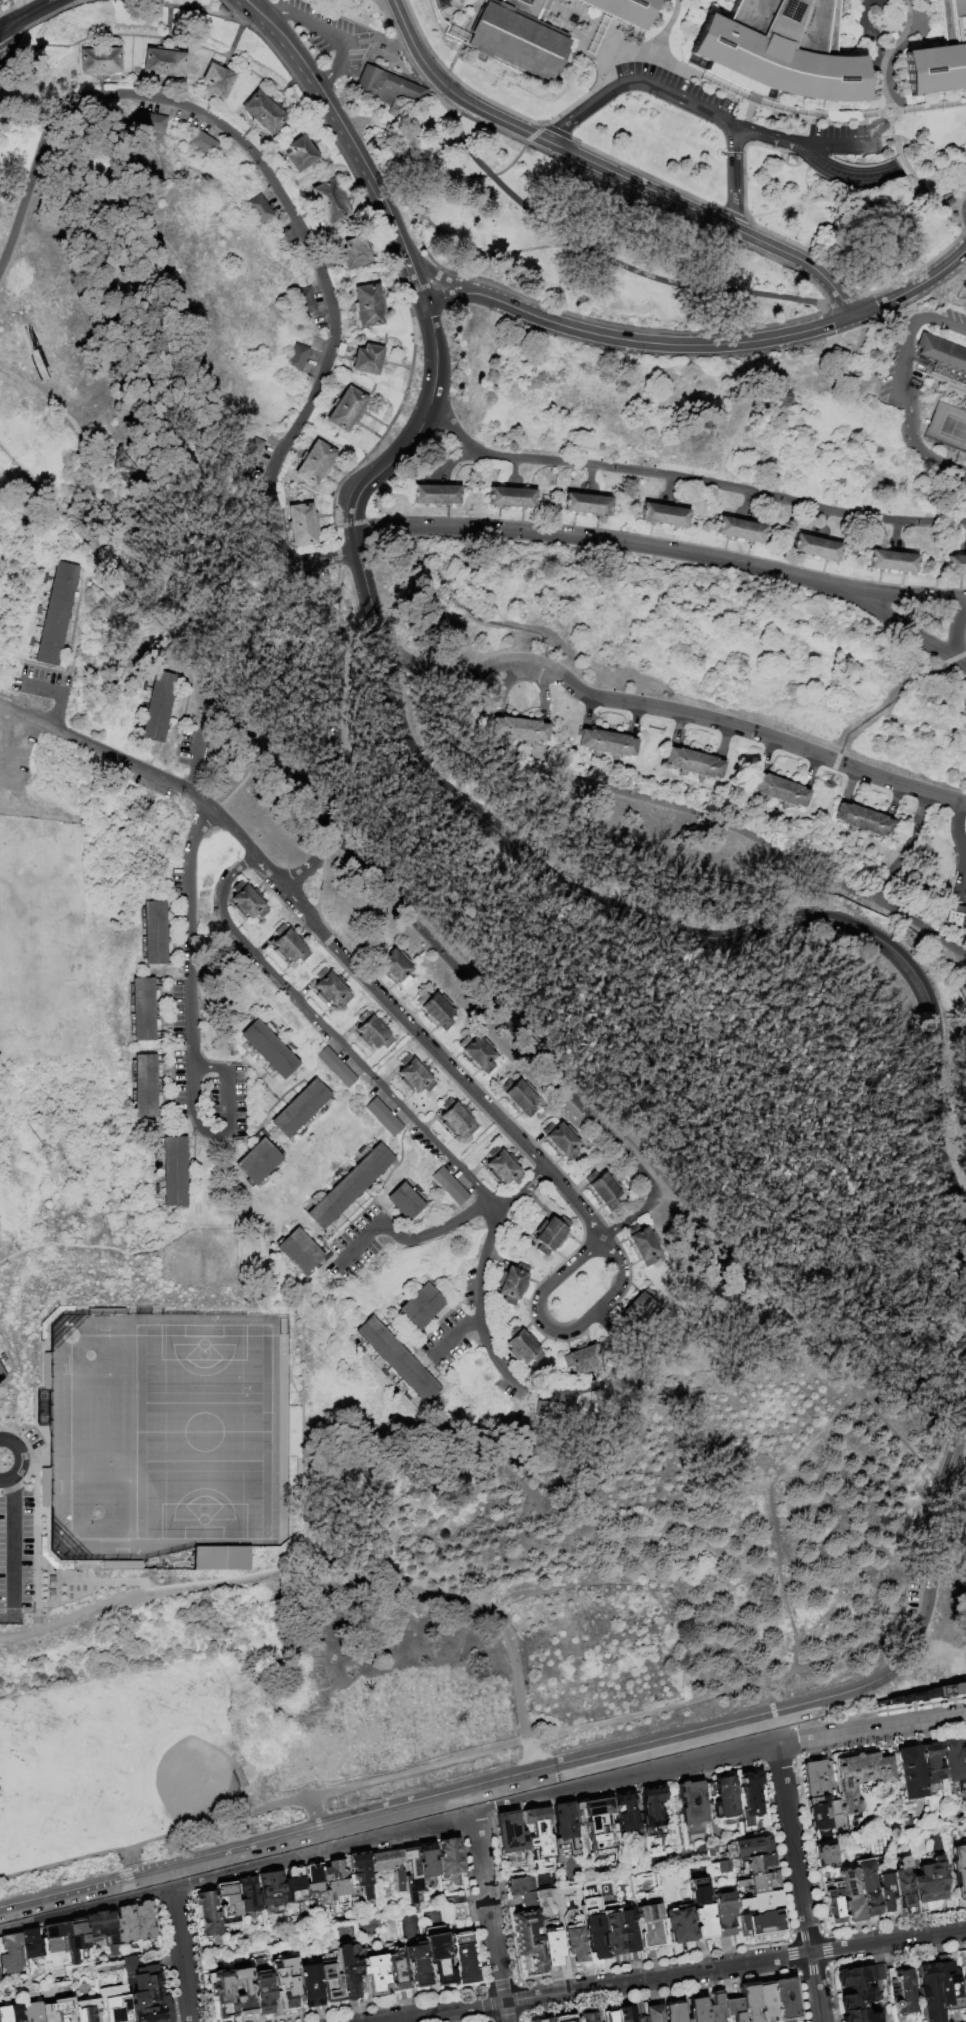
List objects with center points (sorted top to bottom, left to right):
road: (377, 2)
road: (379, 2)
road: (153, 4)
road: (32, 6)
building: (622, 10)
road: (9, 12)
road: (267, 13)
road: (29, 15)
fountain: (571, 18)
road: (320, 29)
road: (669, 29)
building: (520, 37)
road: (184, 43)
building: (781, 51)
road: (890, 51)
building: (941, 55)
building: (100, 61)
road: (406, 61)
building: (164, 63)
road: (329, 79)
road: (454, 79)
building: (218, 82)
road: (606, 82)
parking lot: (673, 83)
building: (388, 87)
road: (608, 87)
road: (590, 90)
road: (613, 90)
road: (675, 97)
road: (753, 99)
road: (930, 107)
building: (264, 113)
road: (884, 113)
road: (747, 114)
road: (577, 115)
road: (333, 117)
building: (150, 122)
road: (541, 123)
road: (556, 132)
road: (533, 133)
road: (763, 135)
building: (204, 144)
road: (463, 144)
road: (836, 147)
building: (301, 155)
road: (810, 156)
road: (510, 163)
road: (608, 171)
road: (733, 177)
road: (865, 177)
road: (912, 177)
road: (280, 198)
road: (826, 200)
building: (332, 202)
building: (261, 210)
road: (541, 223)
road: (422, 247)
building: (355, 254)
road: (435, 274)
road: (413, 277)
road: (817, 289)
road: (911, 289)
road: (448, 297)
building: (306, 301)
building: (369, 306)
road: (659, 345)
building: (296, 357)
building: (943, 358)
building: (368, 360)
road: (903, 384)
road: (53, 402)
building: (348, 410)
building: (256, 424)
park: (947, 427)
building: (251, 455)
building: (316, 464)
road: (688, 480)
building: (435, 494)
building: (510, 497)
building: (586, 505)
building: (663, 515)
building: (303, 526)
building: (740, 530)
road: (604, 543)
building: (816, 547)
road: (338, 557)
building: (892, 561)
building: (956, 564)
road: (909, 596)
building: (57, 614)
road: (904, 626)
road: (956, 636)
road: (111, 652)
road: (961, 661)
parking lot: (43, 681)
road: (45, 687)
building: (145, 687)
road: (60, 708)
building: (160, 709)
road: (671, 712)
road: (18, 718)
road: (338, 727)
building: (520, 731)
parking lot: (192, 743)
building: (608, 744)
road: (198, 751)
parking lot: (21, 760)
building: (694, 765)
road: (24, 767)
road: (154, 774)
road: (194, 779)
building: (780, 791)
road: (962, 802)
building: (865, 822)
road: (960, 824)
road: (738, 833)
road: (909, 849)
road: (427, 866)
road: (542, 871)
road: (964, 892)
building: (248, 902)
park: (472, 902)
building: (173, 905)
building: (957, 918)
building: (155, 934)
building: (173, 934)
road: (191, 936)
building: (290, 946)
park: (42, 948)
building: (174, 961)
building: (395, 966)
road: (482, 979)
building: (161, 983)
building: (332, 989)
building: (143, 1010)
building: (161, 1010)
building: (437, 1010)
parking lot: (181, 1014)
building: (272, 1027)
building: (373, 1033)
road: (516, 1036)
building: (162, 1039)
road: (244, 1045)
building: (294, 1048)
building: (270, 1050)
building: (479, 1054)
building: (162, 1059)
road: (444, 1059)
road: (248, 1060)
road: (217, 1065)
road: (266, 1066)
road: (206, 1067)
building: (337, 1068)
road: (174, 1071)
road: (313, 1071)
building: (415, 1076)
building: (145, 1087)
building: (163, 1087)
parking lot: (181, 1090)
building: (521, 1097)
parking lot: (242, 1101)
building: (301, 1109)
building: (324, 1111)
building: (164, 1115)
road: (711, 1116)
building: (384, 1118)
building: (457, 1120)
road: (261, 1125)
road: (218, 1132)
building: (303, 1133)
building: (562, 1141)
building: (362, 1151)
building: (157, 1156)
building: (260, 1160)
building: (503, 1168)
road: (461, 1171)
building: (176, 1172)
building: (338, 1174)
building: (351, 1187)
building: (451, 1187)
building: (158, 1190)
building: (604, 1190)
building: (419, 1191)
building: (314, 1197)
building: (406, 1202)
road: (465, 1216)
building: (552, 1236)
parking lot: (367, 1242)
road: (359, 1244)
building: (645, 1245)
building: (300, 1253)
road: (622, 1276)
road: (44, 1280)
building: (513, 1285)
road: (538, 1300)
building: (422, 1306)
building: (640, 1310)
road: (475, 1319)
parking lot: (453, 1331)
building: (425, 1332)
building: (417, 1335)
road: (453, 1338)
building: (523, 1347)
building: (362, 1350)
building: (3, 1358)
road: (39, 1360)
building: (398, 1360)
building: (585, 1360)
building: (2, 1374)
building: (385, 1374)
building: (408, 1398)
building: (551, 1411)
park: (165, 1433)
road: (16, 1460)
road: (308, 1509)
road: (33, 1513)
road: (599, 1517)
road: (773, 1535)
road: (12, 1542)
building: (220, 1558)
road: (325, 1569)
road: (90, 1581)
building: (49, 1589)
road: (926, 1601)
building: (957, 1688)
building: (943, 1691)
building: (919, 1695)
building: (892, 1700)
road: (877, 1712)
road: (871, 1731)
road: (793, 1743)
road: (881, 1745)
building: (963, 1750)
park: (98, 1758)
road: (460, 1758)
building: (933, 1763)
building: (954, 1764)
building: (912, 1773)
building: (861, 1778)
building: (815, 1779)
park: (200, 1781)
road: (570, 1789)
building: (751, 1797)
building: (722, 1798)
building: (693, 1803)
road: (390, 1807)
building: (653, 1808)
road: (314, 1812)
building: (626, 1814)
building: (820, 1814)
building: (598, 1823)
building: (567, 1828)
building: (510, 1833)
building: (539, 1835)
building: (748, 1849)
building: (447, 1858)
building: (826, 1858)
building: (385, 1861)
road: (124, 1862)
building: (426, 1863)
building: (756, 1865)
building: (722, 1866)
building: (959, 1871)
building: (361, 1872)
building: (408, 1876)
road: (199, 1881)
building: (759, 1883)
building: (904, 1883)
building: (313, 1884)
building: (334, 1884)
road: (797, 1884)
building: (931, 1884)
building: (294, 1885)
building: (517, 1885)
building: (868, 1888)
building: (271, 1889)
building: (887, 1894)
building: (248, 1896)
building: (851, 1896)
building: (526, 1900)
building: (229, 1902)
building: (761, 1902)
building: (833, 1902)
building: (209, 1913)
building: (457, 1913)
building: (723, 1915)
road: (489, 1917)
building: (649, 1920)
building: (594, 1921)
building: (136, 1923)
building: (704, 1923)
building: (762, 1924)
road: (16, 1925)
building: (680, 1925)
building: (103, 1930)
building: (622, 1932)
building: (575, 1938)
building: (77, 1939)
building: (531, 1939)
building: (32, 1944)
building: (554, 1947)
building: (12, 1954)
road: (181, 1955)
building: (438, 1958)
building: (463, 1960)
building: (417, 1965)
building: (965, 1965)
building: (394, 1968)
building: (347, 1969)
building: (373, 1971)
road: (675, 1975)
building: (0, 1980)
building: (285, 1982)
building: (948, 1982)
building: (307, 1983)
building: (328, 1984)
building: (965, 1984)
building: (137, 1990)
building: (242, 1992)
building: (261, 1992)
building: (860, 1992)
building: (902, 1992)
building: (930, 1993)
building: (221, 1994)
building: (156, 1996)
building: (786, 1999)
building: (750, 2001)
building: (766, 2002)
building: (106, 2006)
building: (717, 2008)
building: (87, 2010)
building: (31, 2011)
building: (57, 2011)
building: (698, 2011)
building: (735, 2011)
building: (14, 2013)
building: (676, 2013)
building: (4, 2014)
building: (655, 2014)
building: (627, 2015)
building: (612, 2016)
building: (590, 2017)
building: (566, 2019)
building: (544, 2020)
building: (761, 2021)

